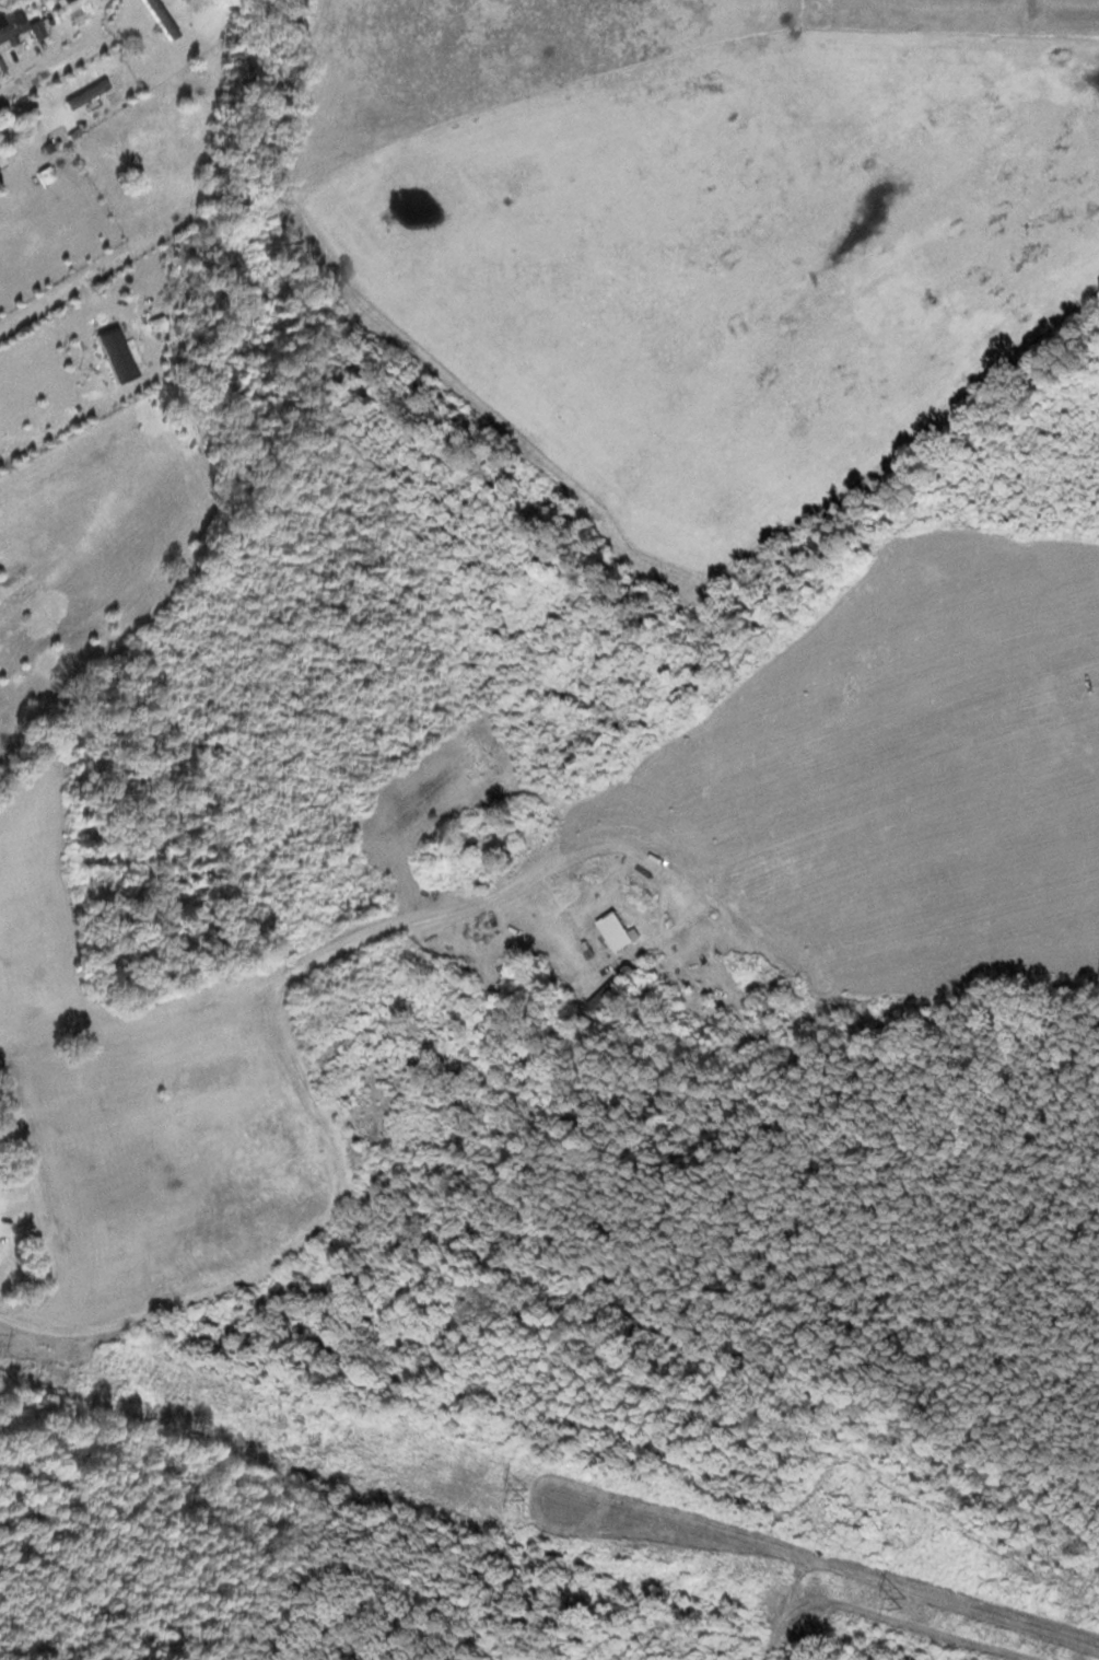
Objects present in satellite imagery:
building: (164, 18)
building: (39, 26)
building: (8, 28)
road: (46, 74)
building: (7, 158)
road: (39, 303)
building: (617, 929)
building: (631, 975)
building: (608, 998)
building: (769, 1031)
power tower: (528, 1493)
power tower: (904, 1601)

